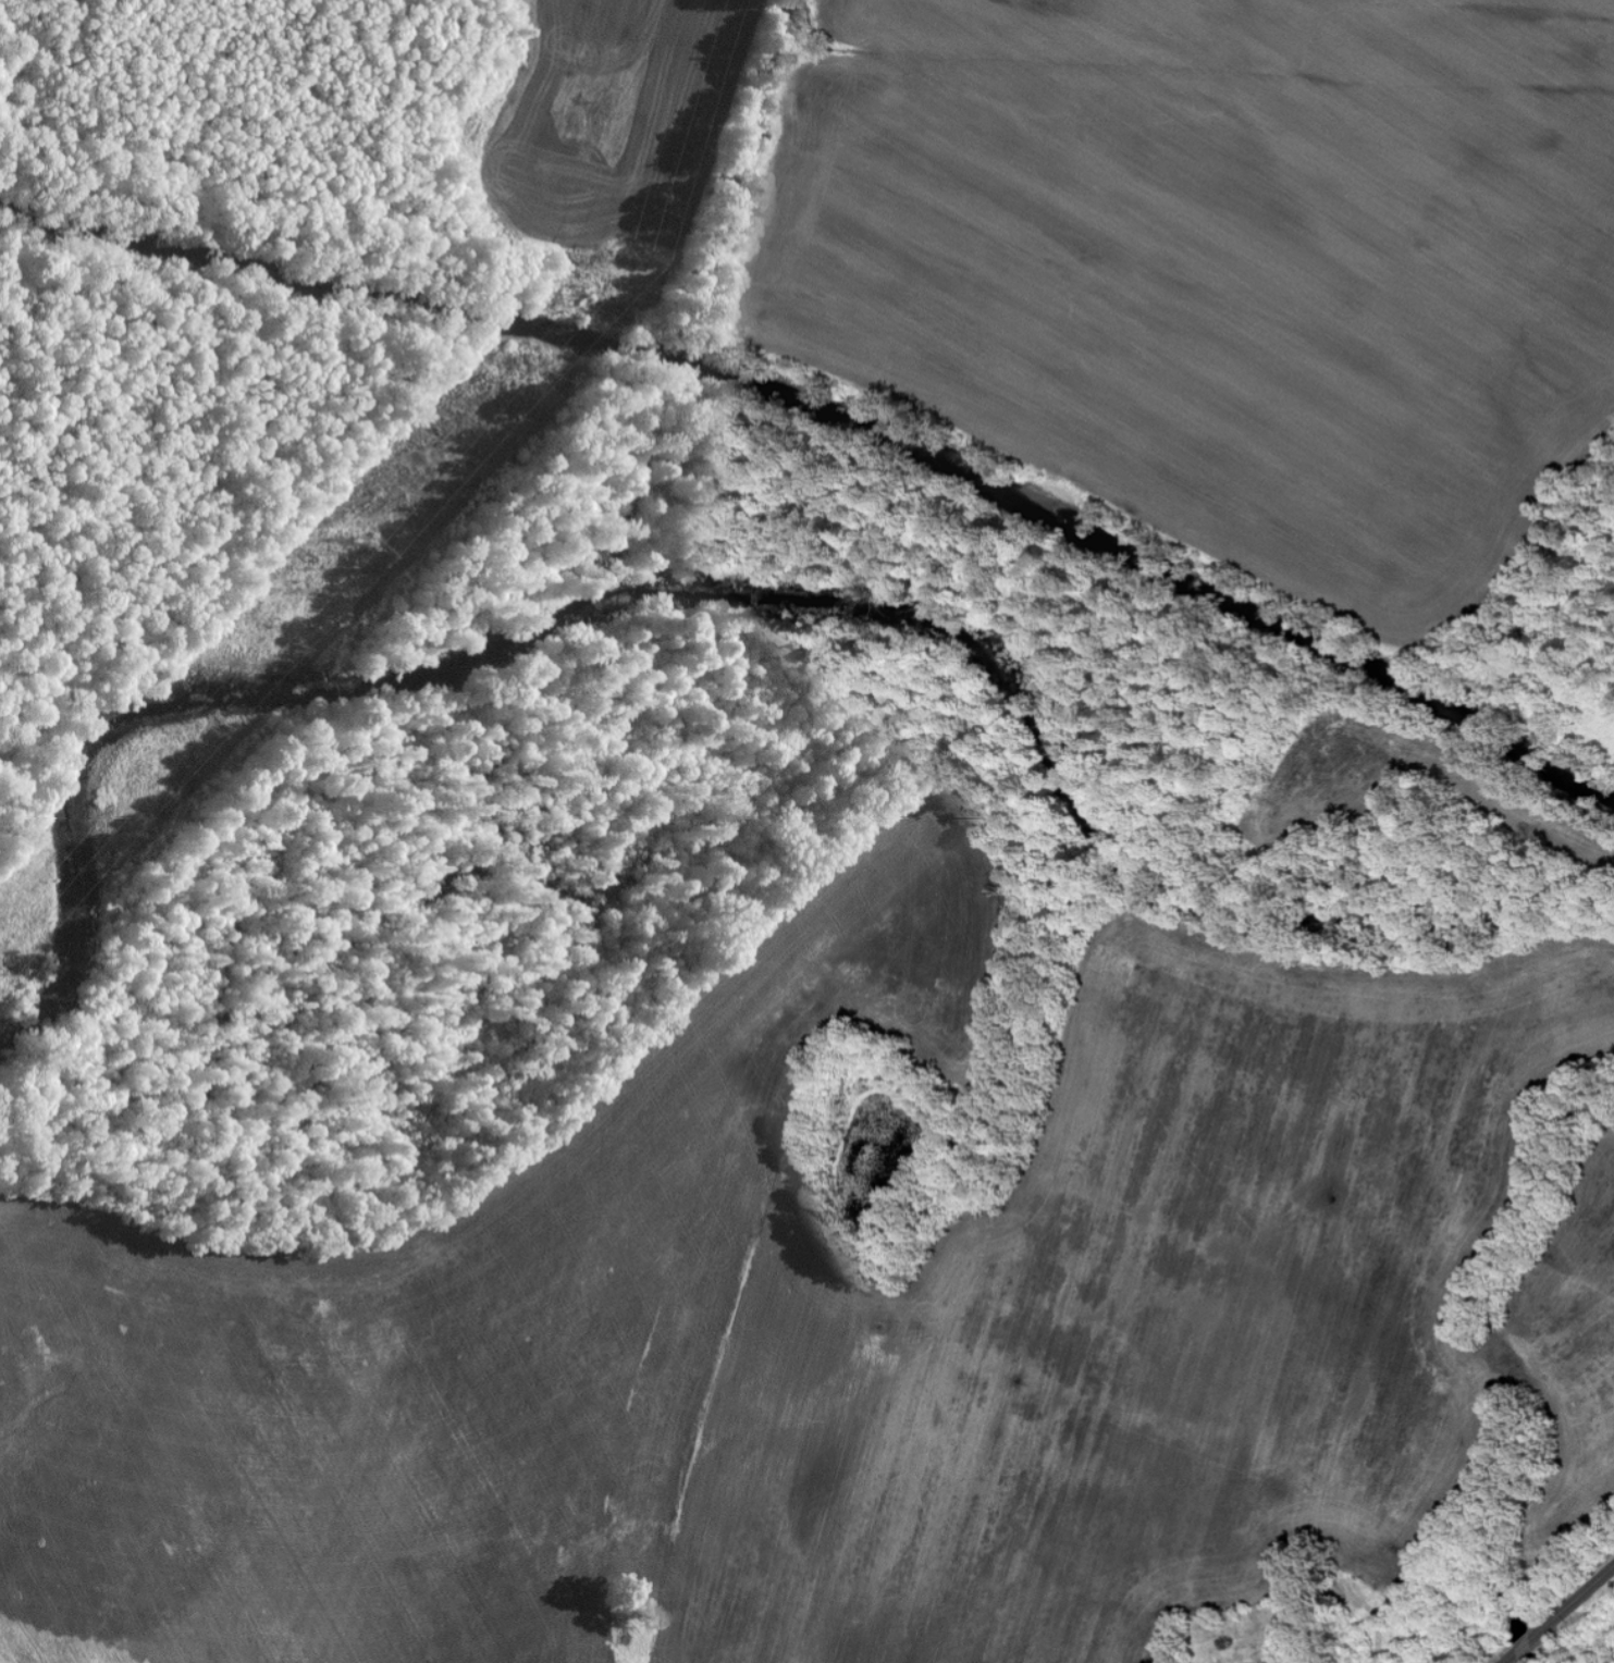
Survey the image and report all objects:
power tower: (633, 254)
power tower: (372, 538)
road: (1598, 857)
road: (1561, 1617)

